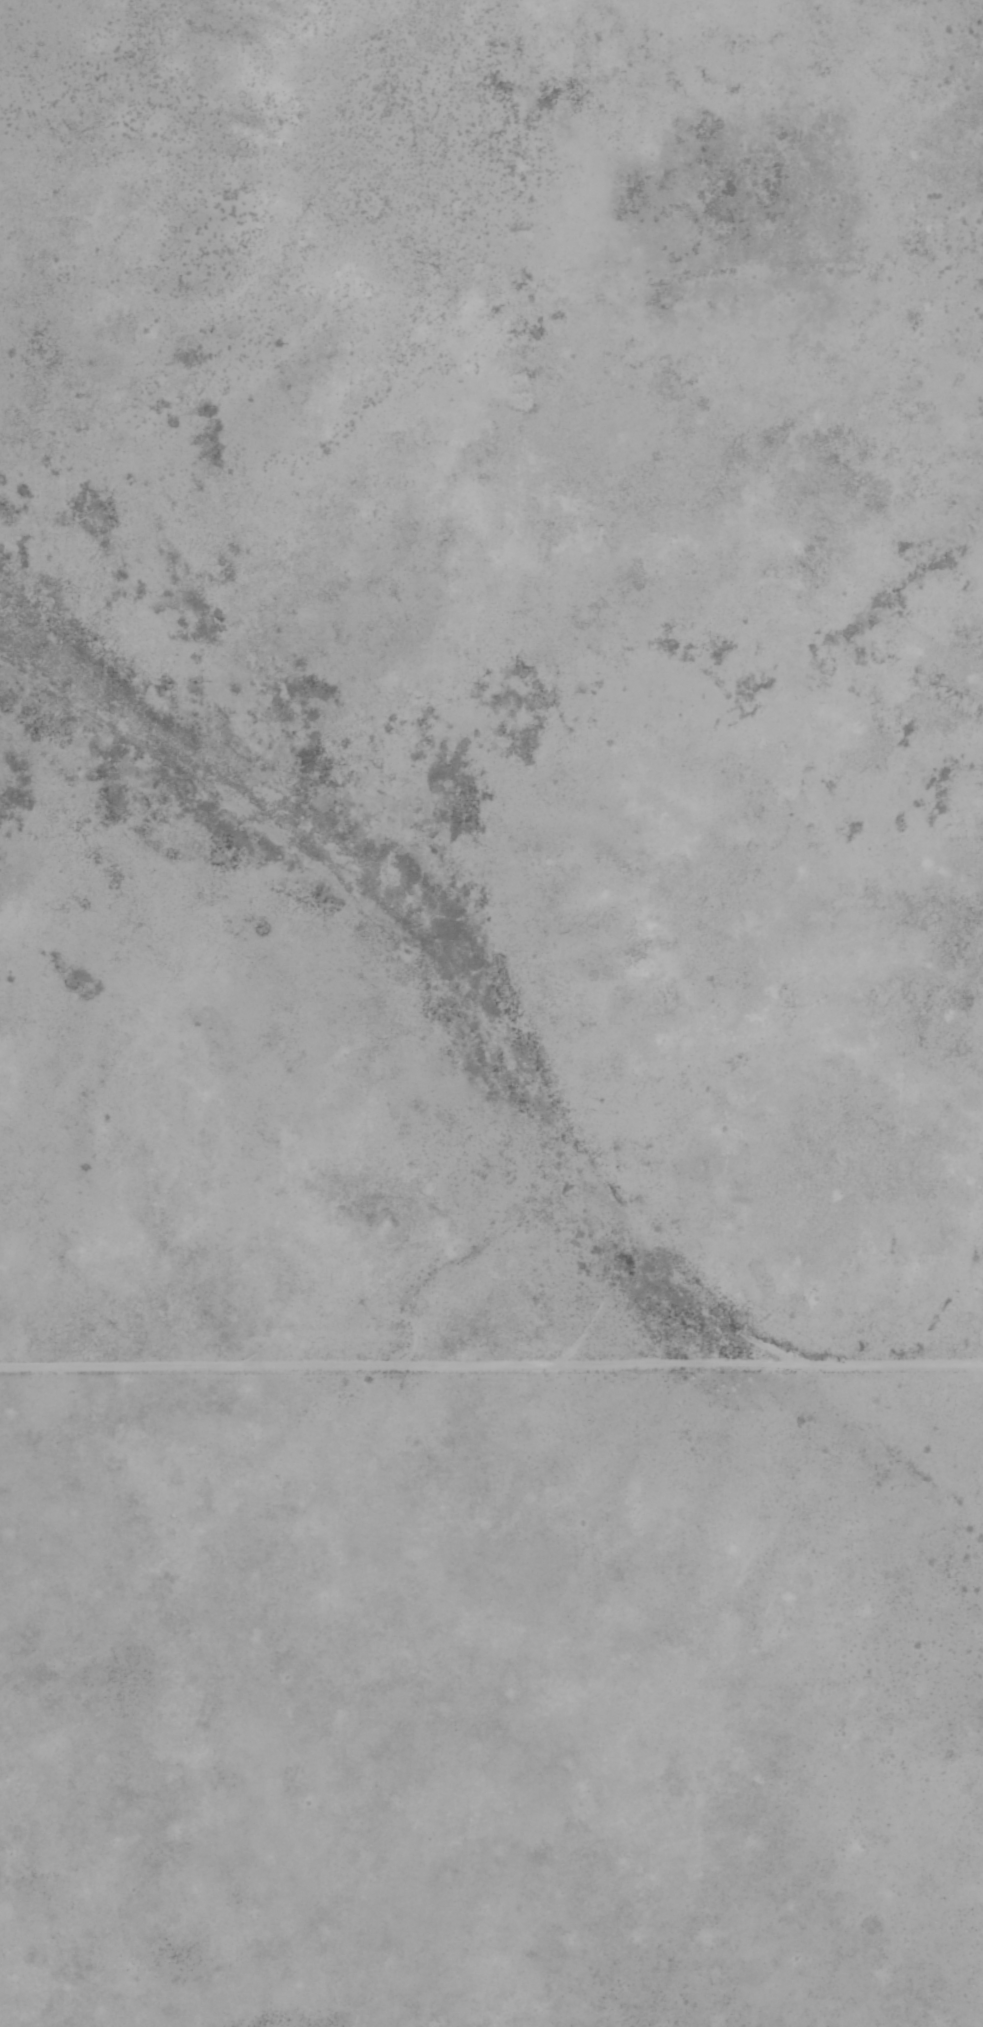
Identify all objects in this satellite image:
road: (10, 1972)

